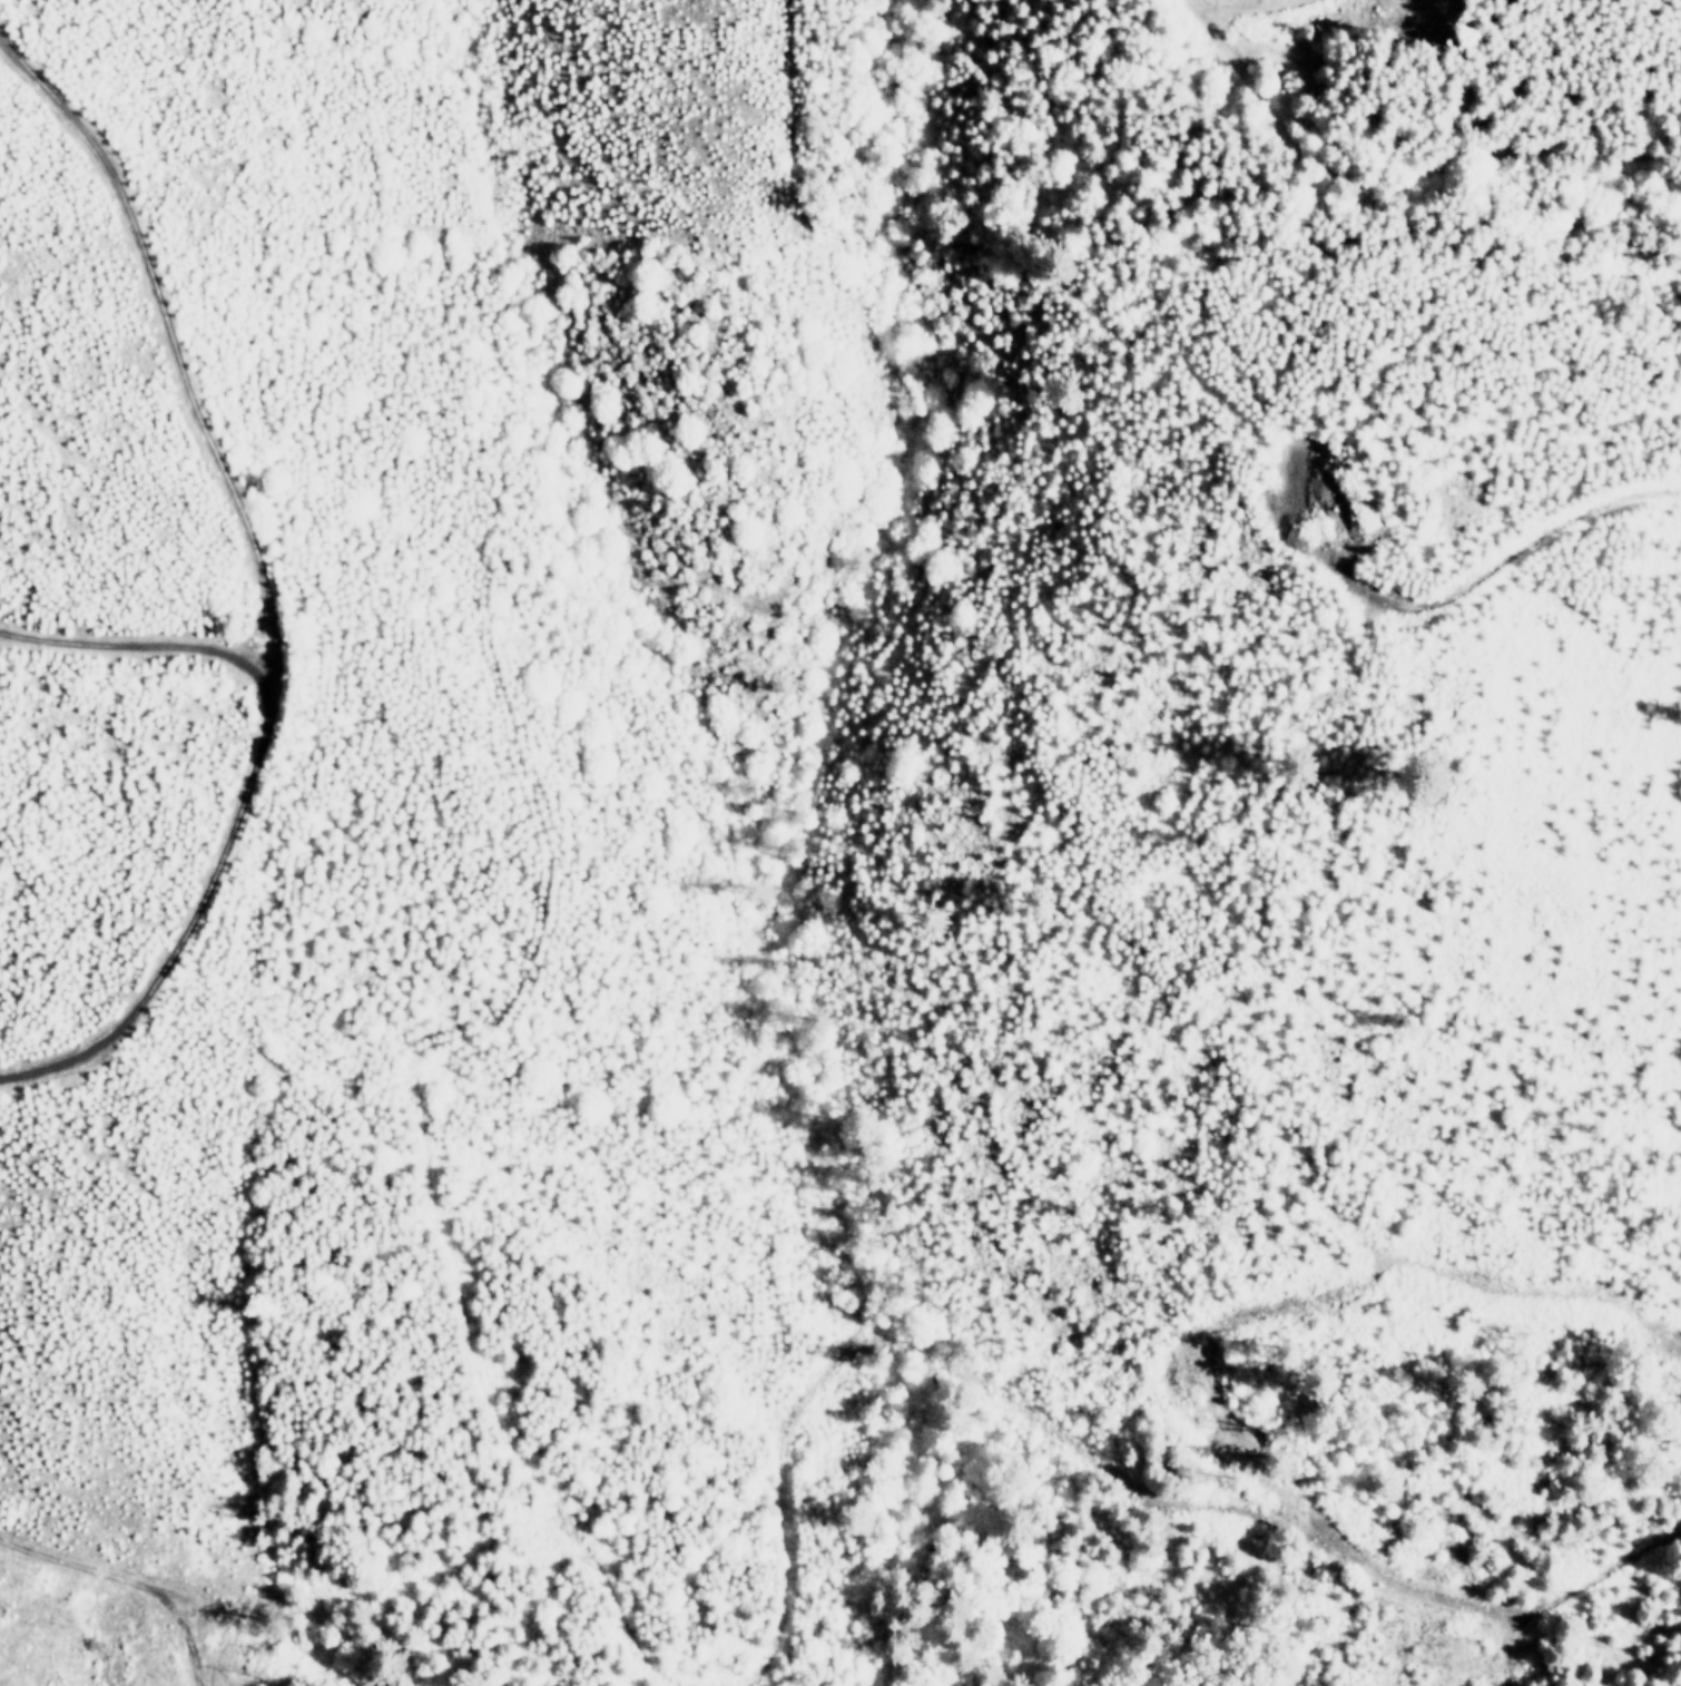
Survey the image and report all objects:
road: (1566, 1596)

